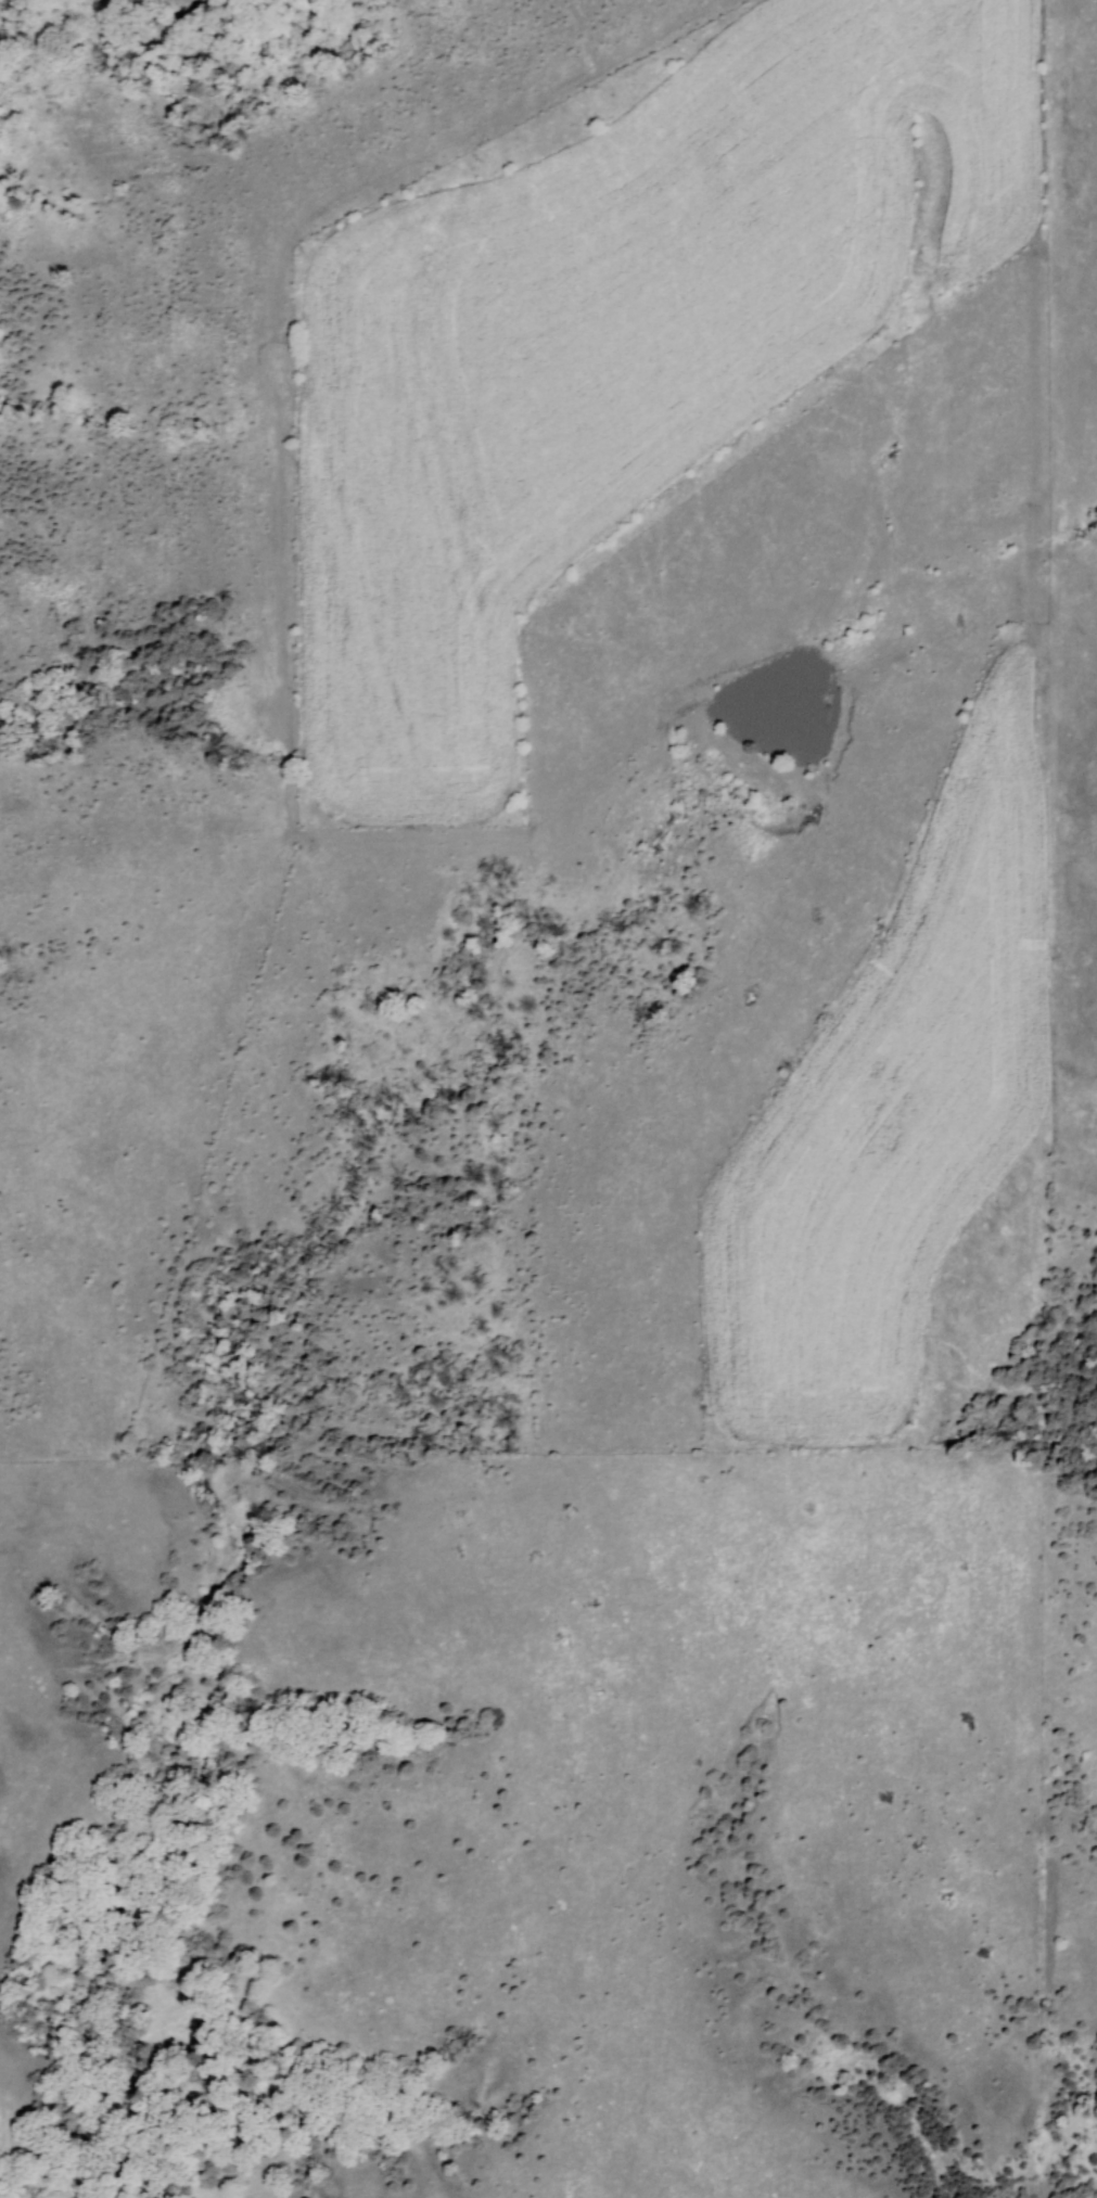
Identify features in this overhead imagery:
crop: (607, 353)
crop: (889, 1115)

